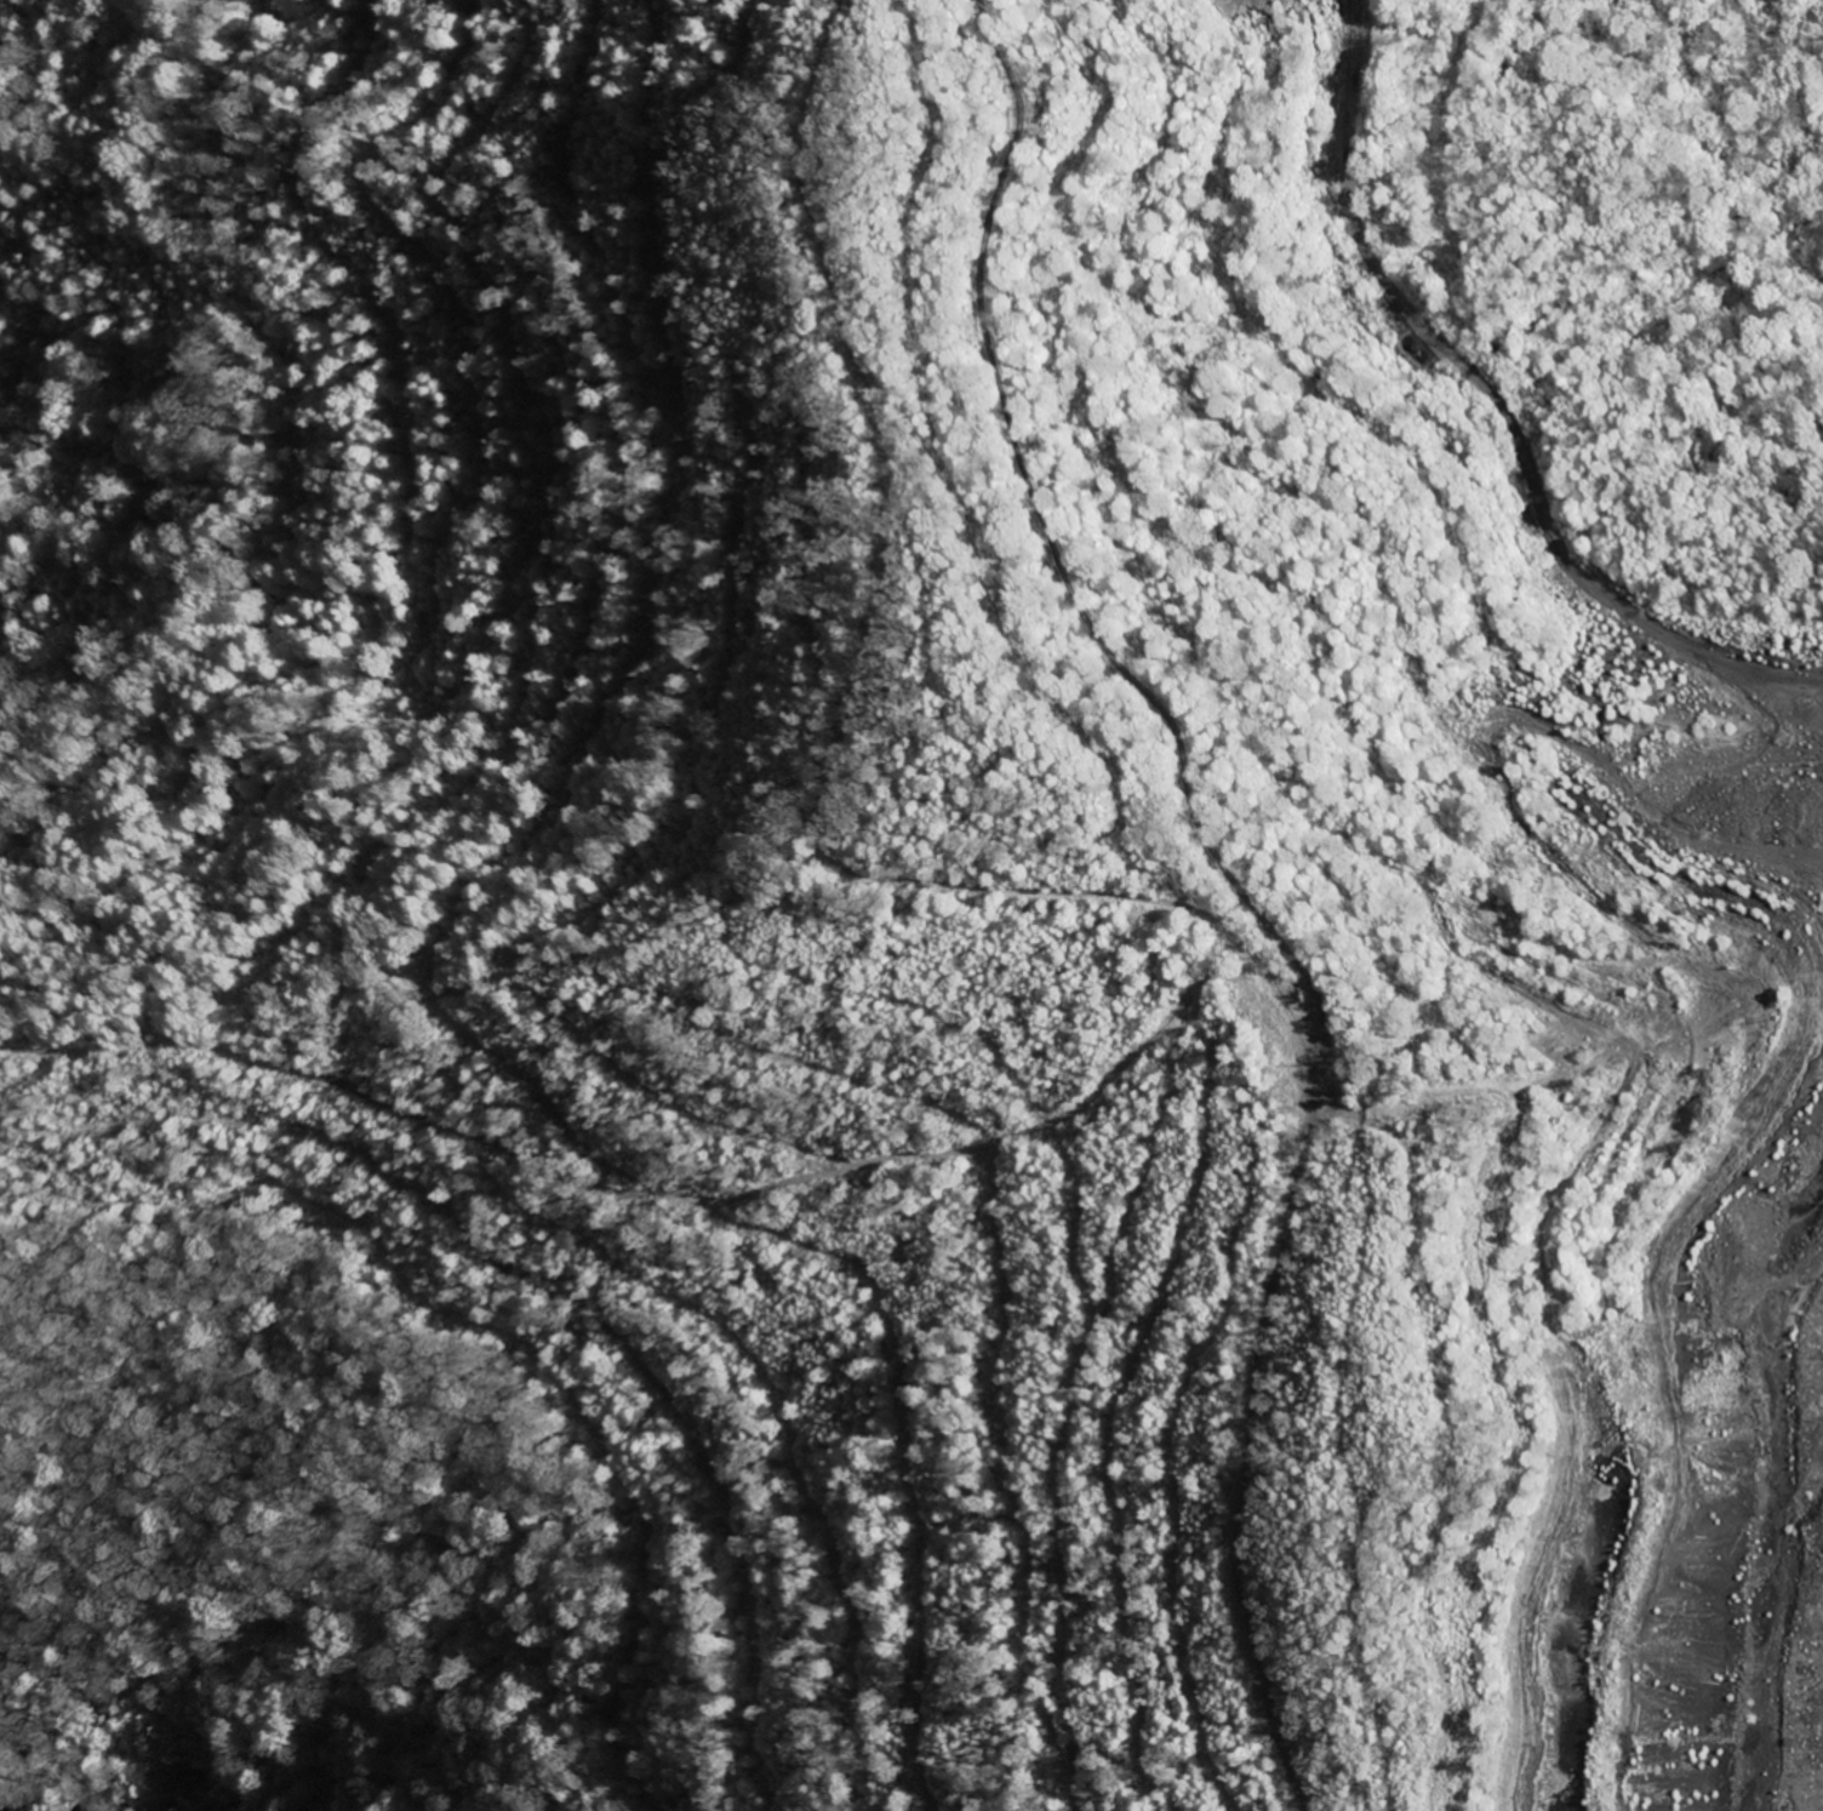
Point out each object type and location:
road: (1498, 413)
road: (1068, 572)
road: (842, 726)
road: (1247, 1452)
road: (1816, 1683)

